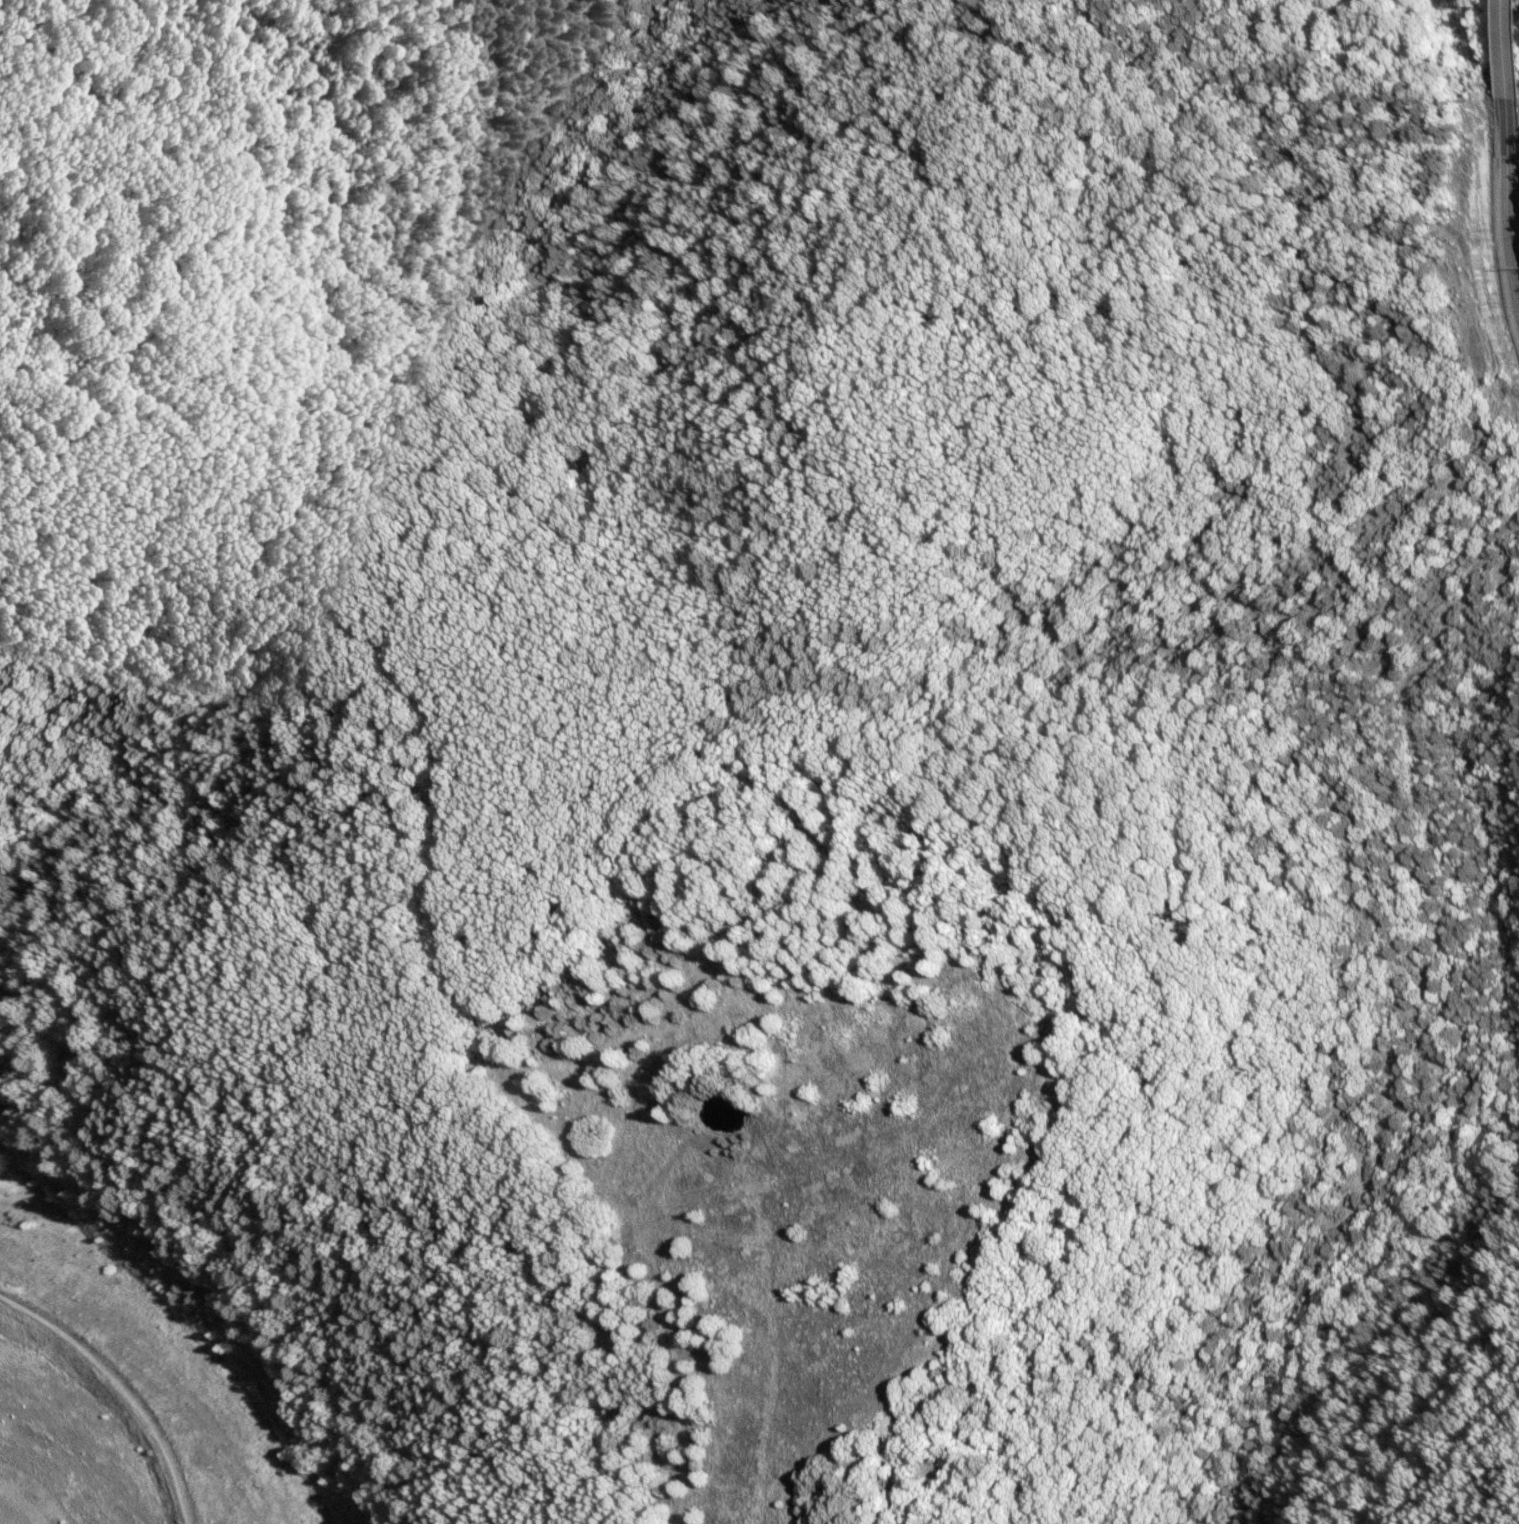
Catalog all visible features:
road: (1512, 71)
road: (1486, 230)
airport: (96, 1377)

